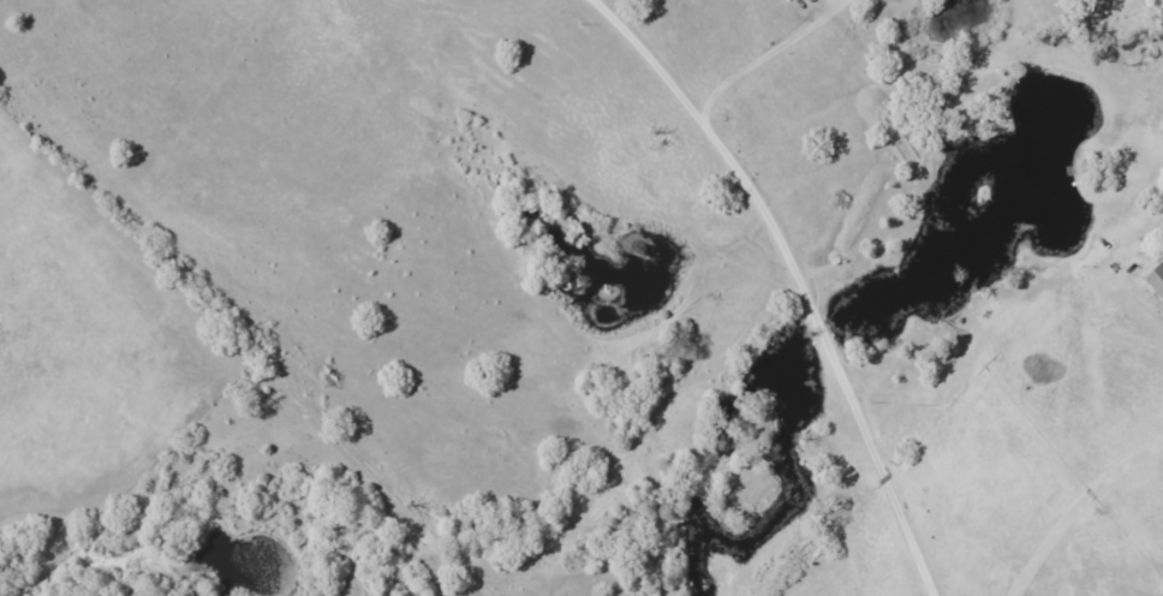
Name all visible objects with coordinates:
building: (1157, 280)

